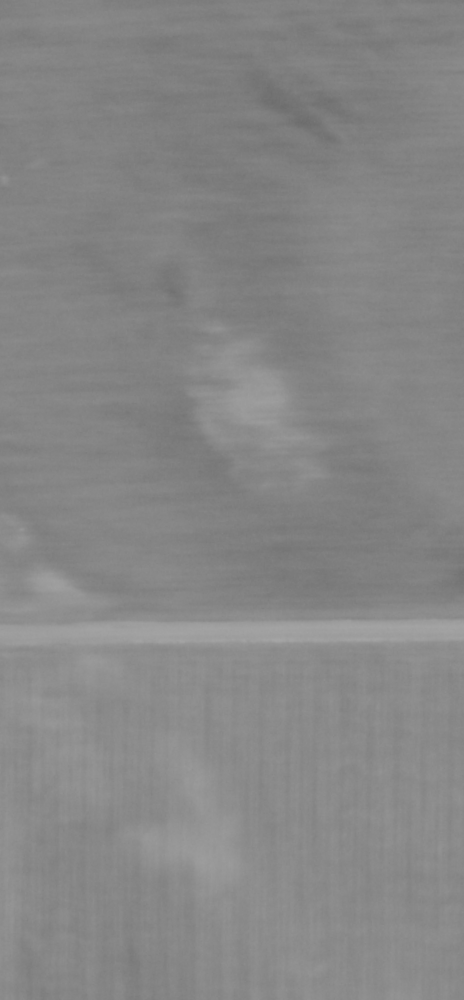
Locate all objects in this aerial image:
crop: (231, 305)
road: (231, 626)
crop: (232, 823)

